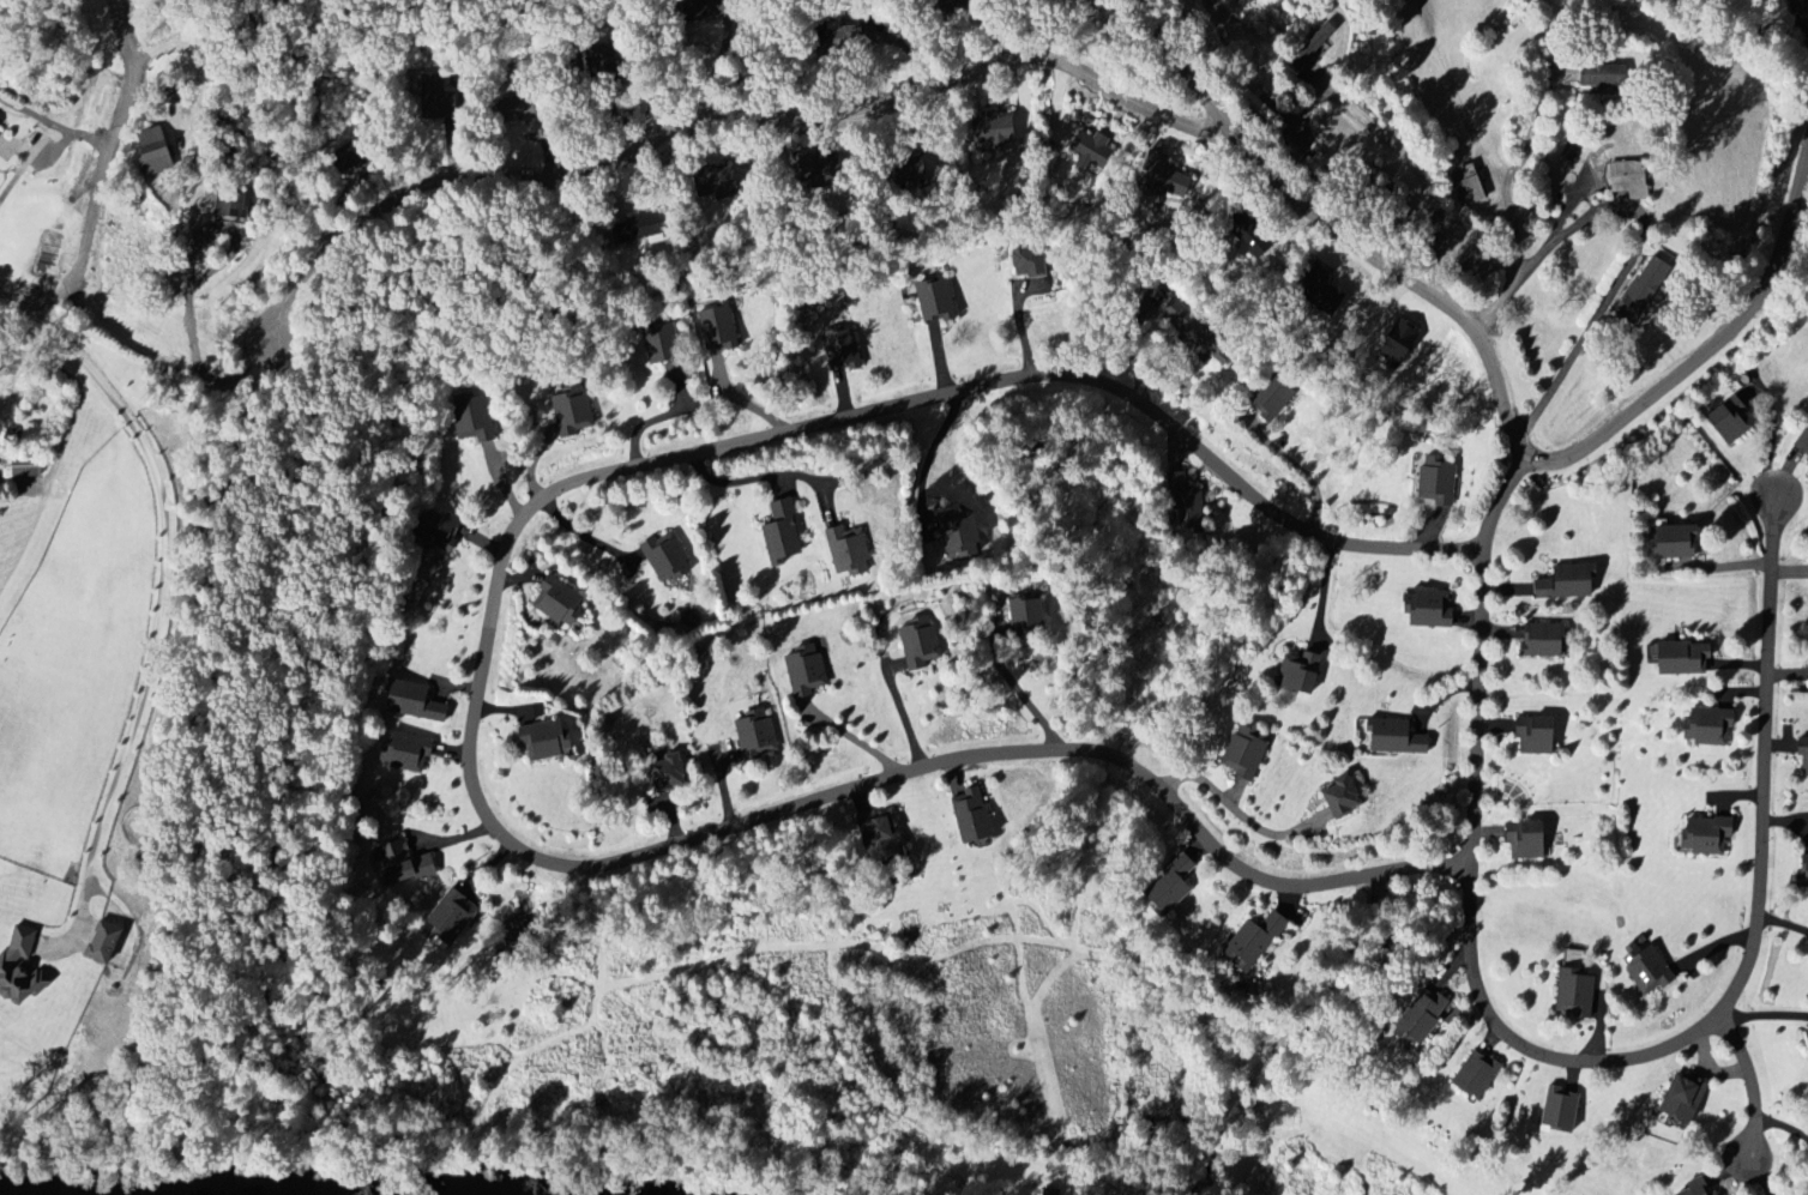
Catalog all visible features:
building: (1801, 8)
road: (1185, 73)
building: (1610, 76)
road: (722, 117)
road: (54, 122)
building: (0, 126)
road: (1532, 127)
road: (116, 128)
building: (990, 131)
building: (1091, 150)
building: (1572, 150)
building: (157, 152)
road: (30, 157)
road: (1418, 170)
building: (1635, 179)
building: (1176, 183)
building: (1466, 185)
building: (230, 205)
road: (1517, 235)
building: (1029, 259)
road: (191, 286)
building: (1645, 289)
building: (936, 301)
building: (718, 330)
building: (1194, 330)
road: (67, 339)
road: (1129, 342)
building: (1403, 344)
building: (663, 349)
building: (842, 349)
road: (1574, 352)
road: (76, 384)
building: (1273, 397)
building: (571, 411)
building: (472, 421)
building: (1734, 421)
road: (1771, 435)
building: (1802, 442)
road: (1531, 457)
building: (25, 467)
road: (767, 476)
building: (1440, 479)
building: (1188, 512)
building: (785, 533)
building: (963, 533)
building: (1679, 542)
building: (852, 551)
building: (668, 557)
building: (1571, 581)
building: (560, 602)
building: (1434, 609)
building: (1027, 617)
building: (1545, 640)
building: (921, 644)
building: (1687, 658)
building: (1301, 671)
building: (808, 672)
road: (146, 675)
road: (481, 689)
road: (1019, 690)
building: (416, 702)
road: (906, 722)
building: (1710, 726)
building: (758, 735)
building: (1538, 735)
building: (1402, 737)
building: (547, 741)
building: (408, 752)
building: (1804, 753)
building: (1248, 755)
building: (670, 772)
building: (1350, 798)
road: (1239, 811)
building: (976, 816)
building: (881, 835)
building: (1710, 835)
building: (1530, 840)
building: (404, 863)
building: (1804, 871)
building: (1173, 888)
building: (453, 917)
building: (1256, 942)
building: (113, 944)
building: (1572, 959)
building: (22, 968)
building: (1651, 970)
building: (1577, 994)
road: (1762, 1014)
building: (1424, 1020)
road: (1578, 1061)
building: (1478, 1074)
road: (1749, 1080)
building: (1685, 1100)
building: (1561, 1110)
building: (1701, 1187)
building: (1051, 1191)

